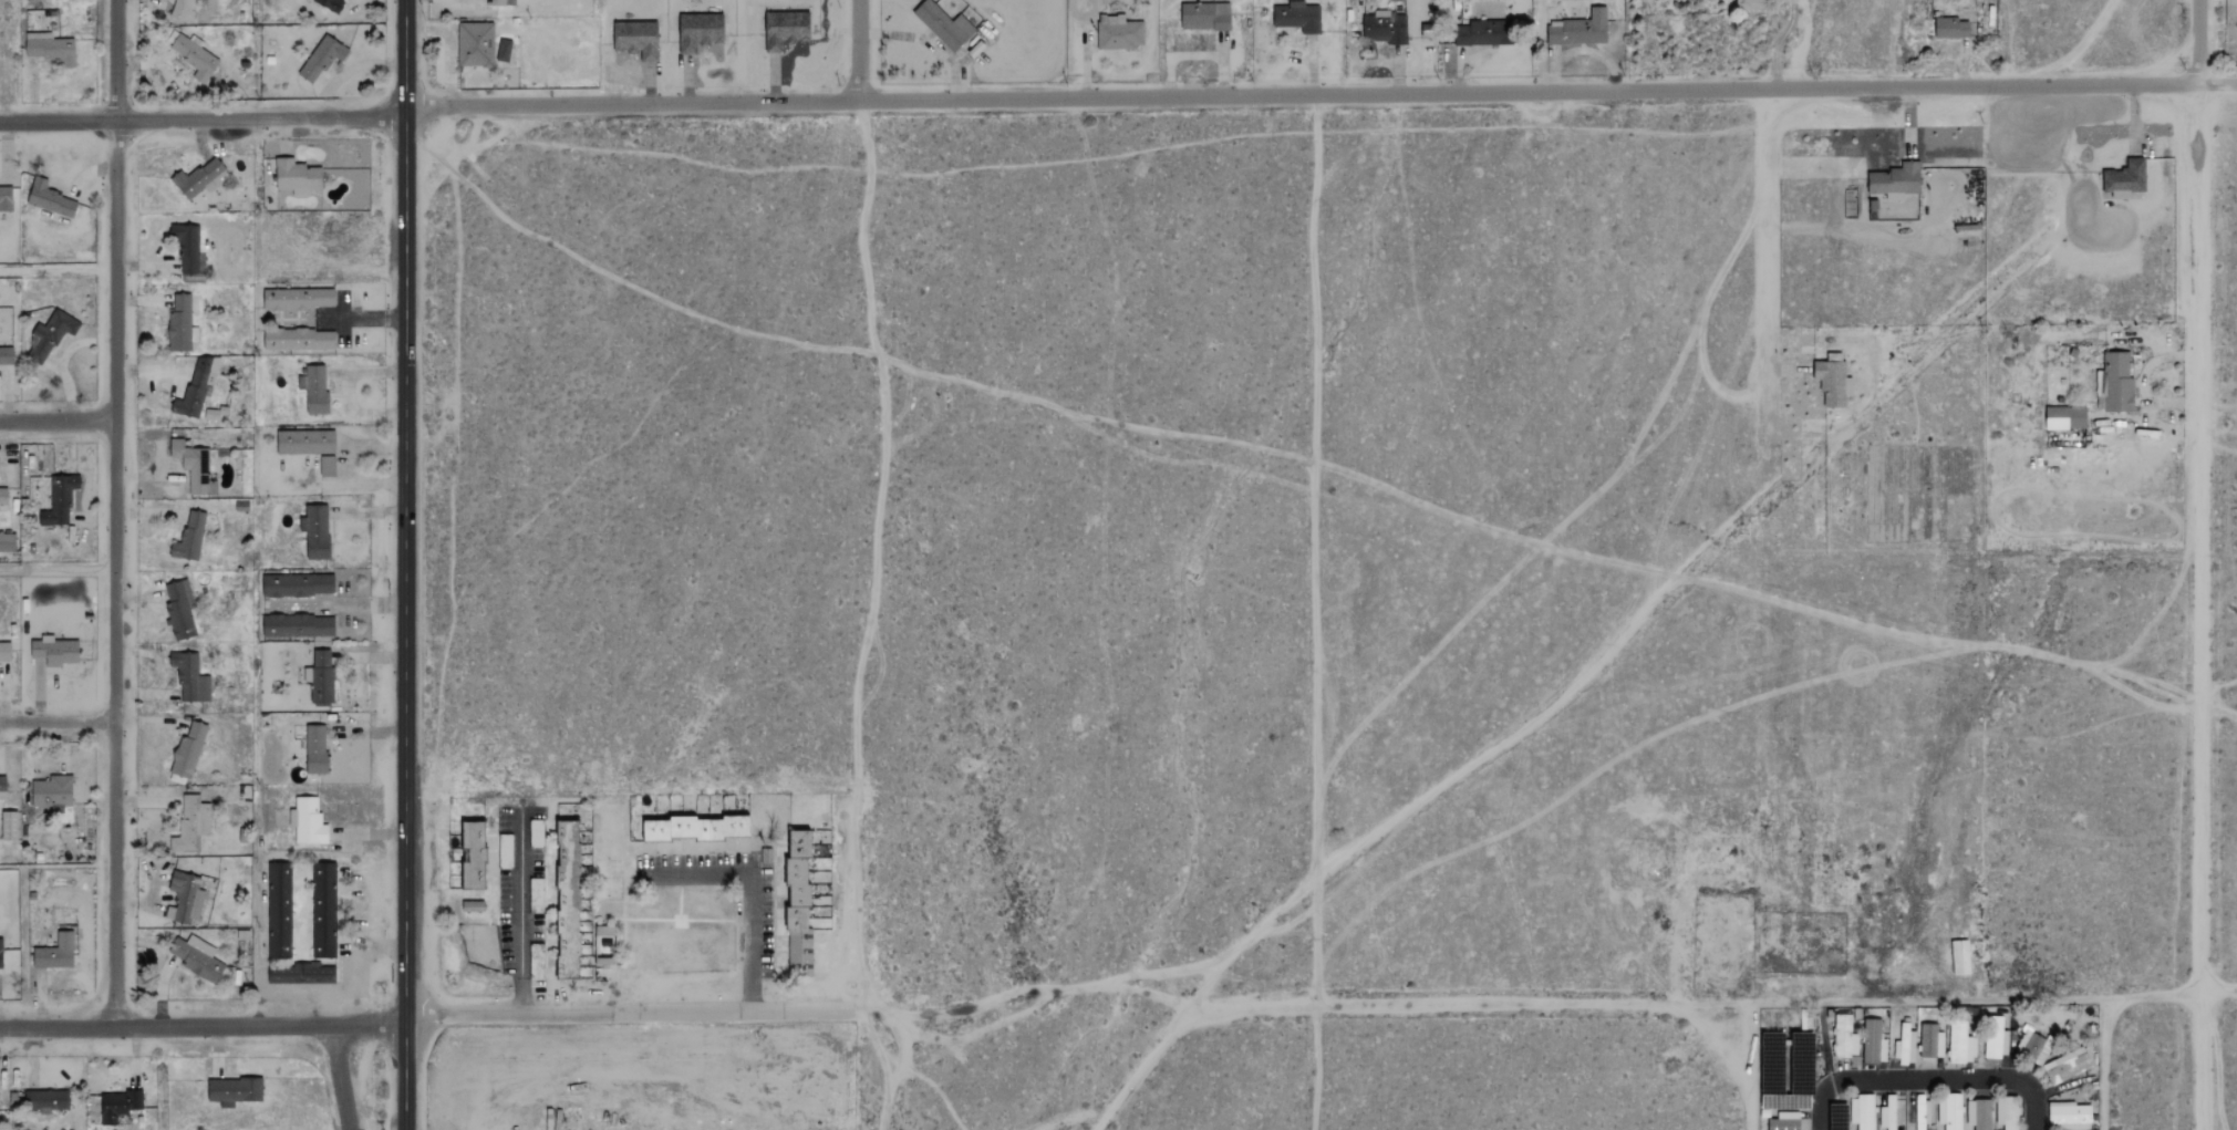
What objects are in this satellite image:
building: (1395, 0)
building: (495, 2)
building: (330, 4)
building: (1750, 4)
building: (182, 9)
building: (1297, 15)
building: (1205, 17)
building: (943, 24)
building: (1385, 27)
building: (1951, 28)
building: (785, 29)
building: (1580, 29)
building: (698, 31)
building: (1118, 32)
building: (1484, 32)
building: (636, 39)
road: (2198, 42)
building: (475, 43)
road: (1779, 43)
building: (48, 48)
road: (858, 50)
road: (1580, 50)
building: (504, 51)
building: (194, 58)
building: (322, 58)
road: (2218, 83)
road: (1529, 92)
road: (631, 104)
road: (260, 118)
road: (58, 120)
building: (2124, 174)
building: (297, 176)
building: (1894, 177)
building: (199, 178)
building: (6, 198)
building: (49, 198)
building: (187, 248)
road: (58, 269)
building: (299, 299)
building: (180, 324)
building: (50, 334)
building: (299, 339)
building: (6, 355)
road: (1765, 372)
building: (1830, 377)
building: (2116, 381)
road: (2143, 382)
building: (196, 386)
building: (314, 390)
building: (2063, 416)
road: (58, 421)
building: (305, 442)
building: (194, 467)
building: (327, 467)
building: (2, 495)
building: (59, 500)
road: (116, 514)
building: (315, 531)
building: (188, 538)
building: (7, 542)
road: (1319, 550)
road: (405, 564)
building: (298, 585)
road: (2197, 607)
building: (179, 610)
building: (298, 625)
road: (1943, 643)
building: (55, 651)
building: (4, 652)
building: (189, 677)
building: (320, 678)
road: (59, 718)
building: (188, 749)
building: (315, 749)
building: (2, 789)
road: (1442, 790)
building: (52, 794)
building: (307, 821)
building: (190, 825)
building: (8, 826)
building: (696, 829)
building: (536, 833)
building: (505, 852)
building: (474, 856)
road: (749, 892)
building: (186, 896)
building: (568, 901)
building: (799, 905)
building: (473, 908)
building: (278, 911)
building: (323, 911)
road: (518, 915)
building: (604, 931)
building: (55, 953)
building: (0, 955)
building: (198, 958)
building: (300, 974)
road: (2218, 992)
road: (1524, 1003)
road: (629, 1012)
road: (203, 1026)
building: (1844, 1037)
building: (1932, 1041)
building: (1873, 1043)
building: (1959, 1044)
building: (1905, 1046)
road: (1825, 1047)
building: (1997, 1047)
building: (2037, 1049)
building: (2069, 1066)
road: (340, 1078)
road: (1928, 1078)
building: (235, 1089)
building: (46, 1098)
building: (117, 1102)
building: (1922, 1111)
building: (1861, 1112)
building: (1887, 1112)
building: (1950, 1112)
building: (2008, 1113)
building: (1979, 1115)
building: (2070, 1117)
building: (1785, 1121)

